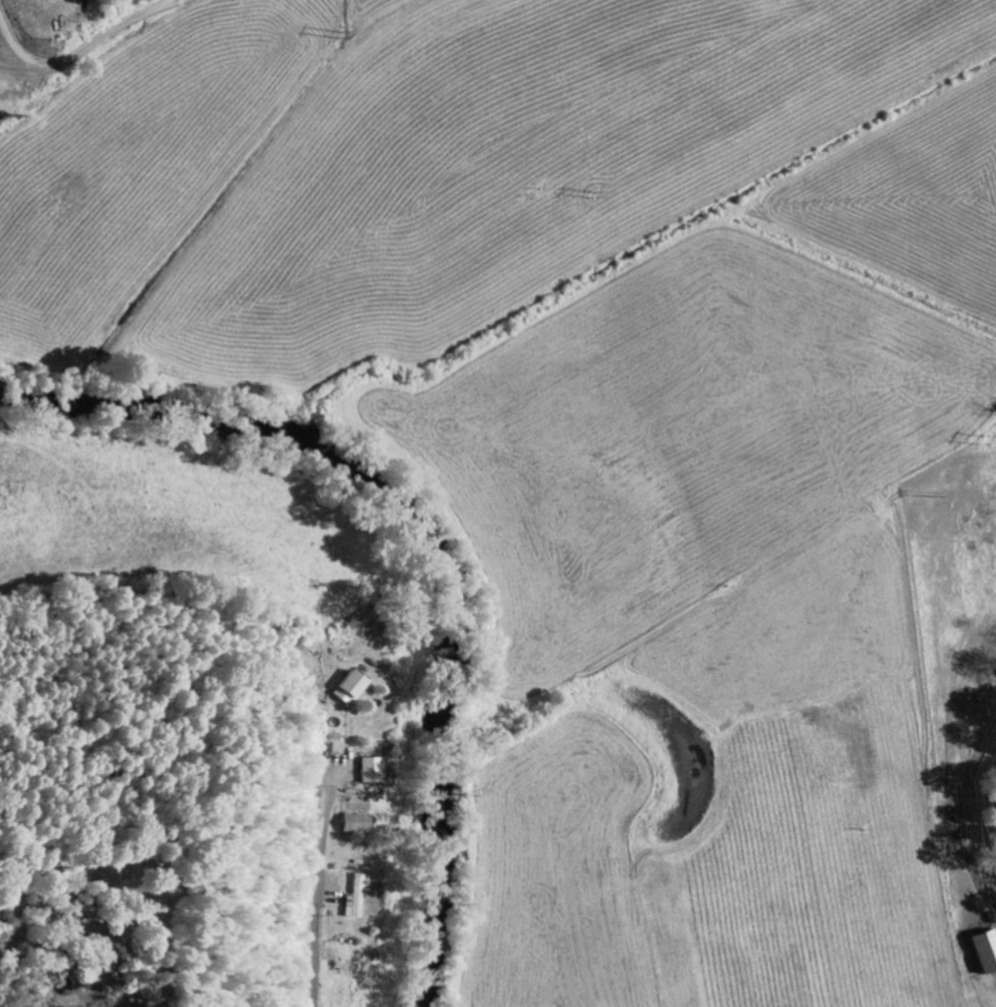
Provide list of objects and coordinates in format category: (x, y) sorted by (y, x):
power tower: (345, 33)
road: (92, 42)
power tower: (600, 194)
power tower: (985, 438)
river: (410, 554)
building: (351, 687)
building: (373, 770)
building: (357, 824)
building: (358, 898)
road: (322, 925)
building: (987, 951)
building: (354, 966)

